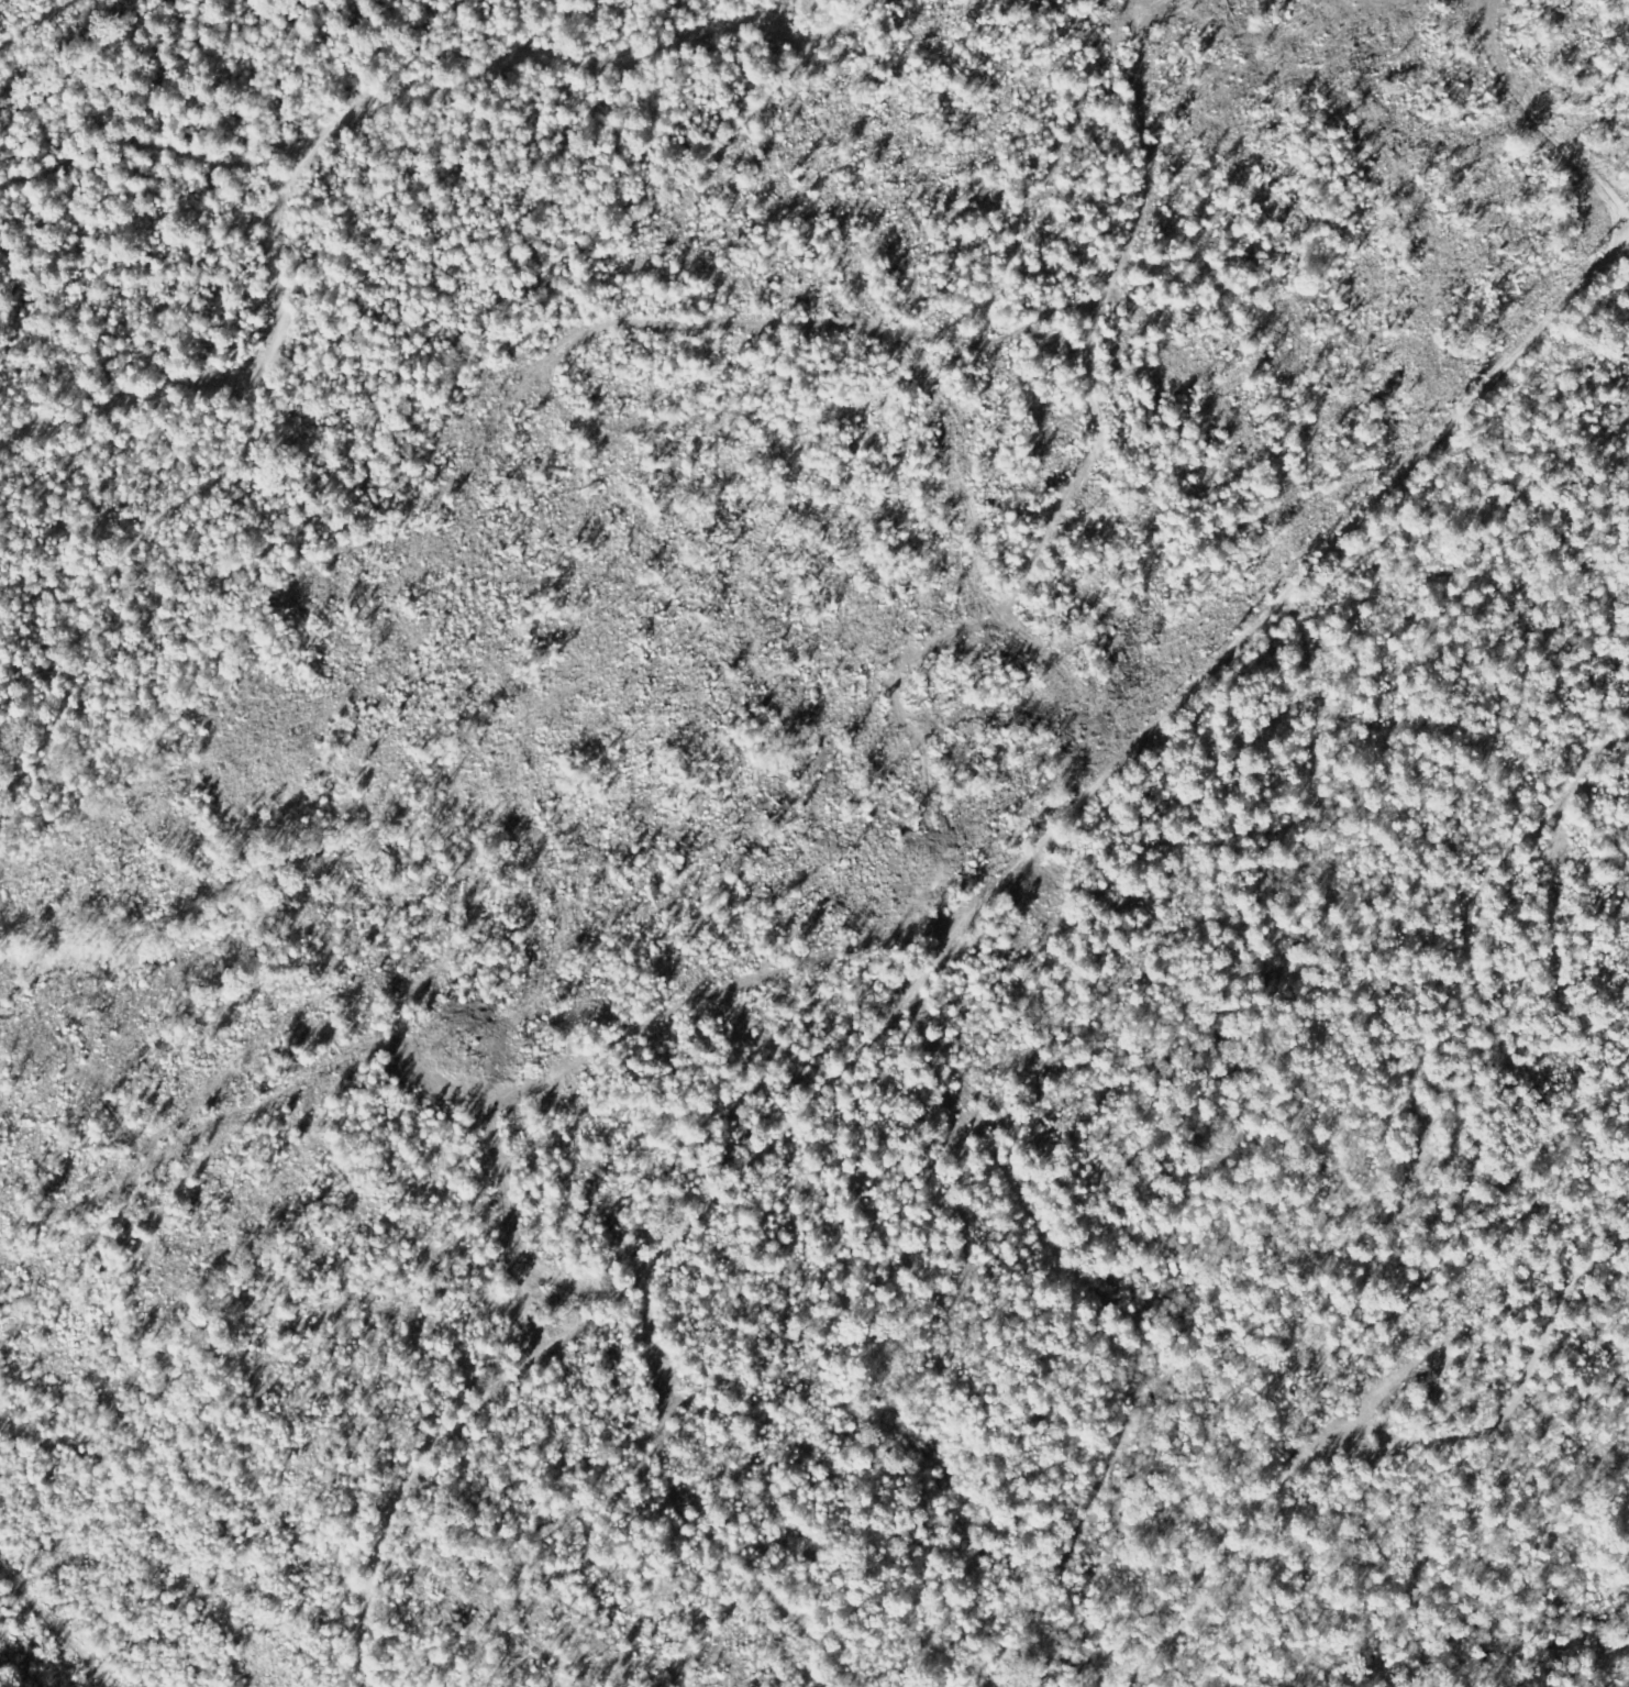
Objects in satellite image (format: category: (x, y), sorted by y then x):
road: (1542, 115)

